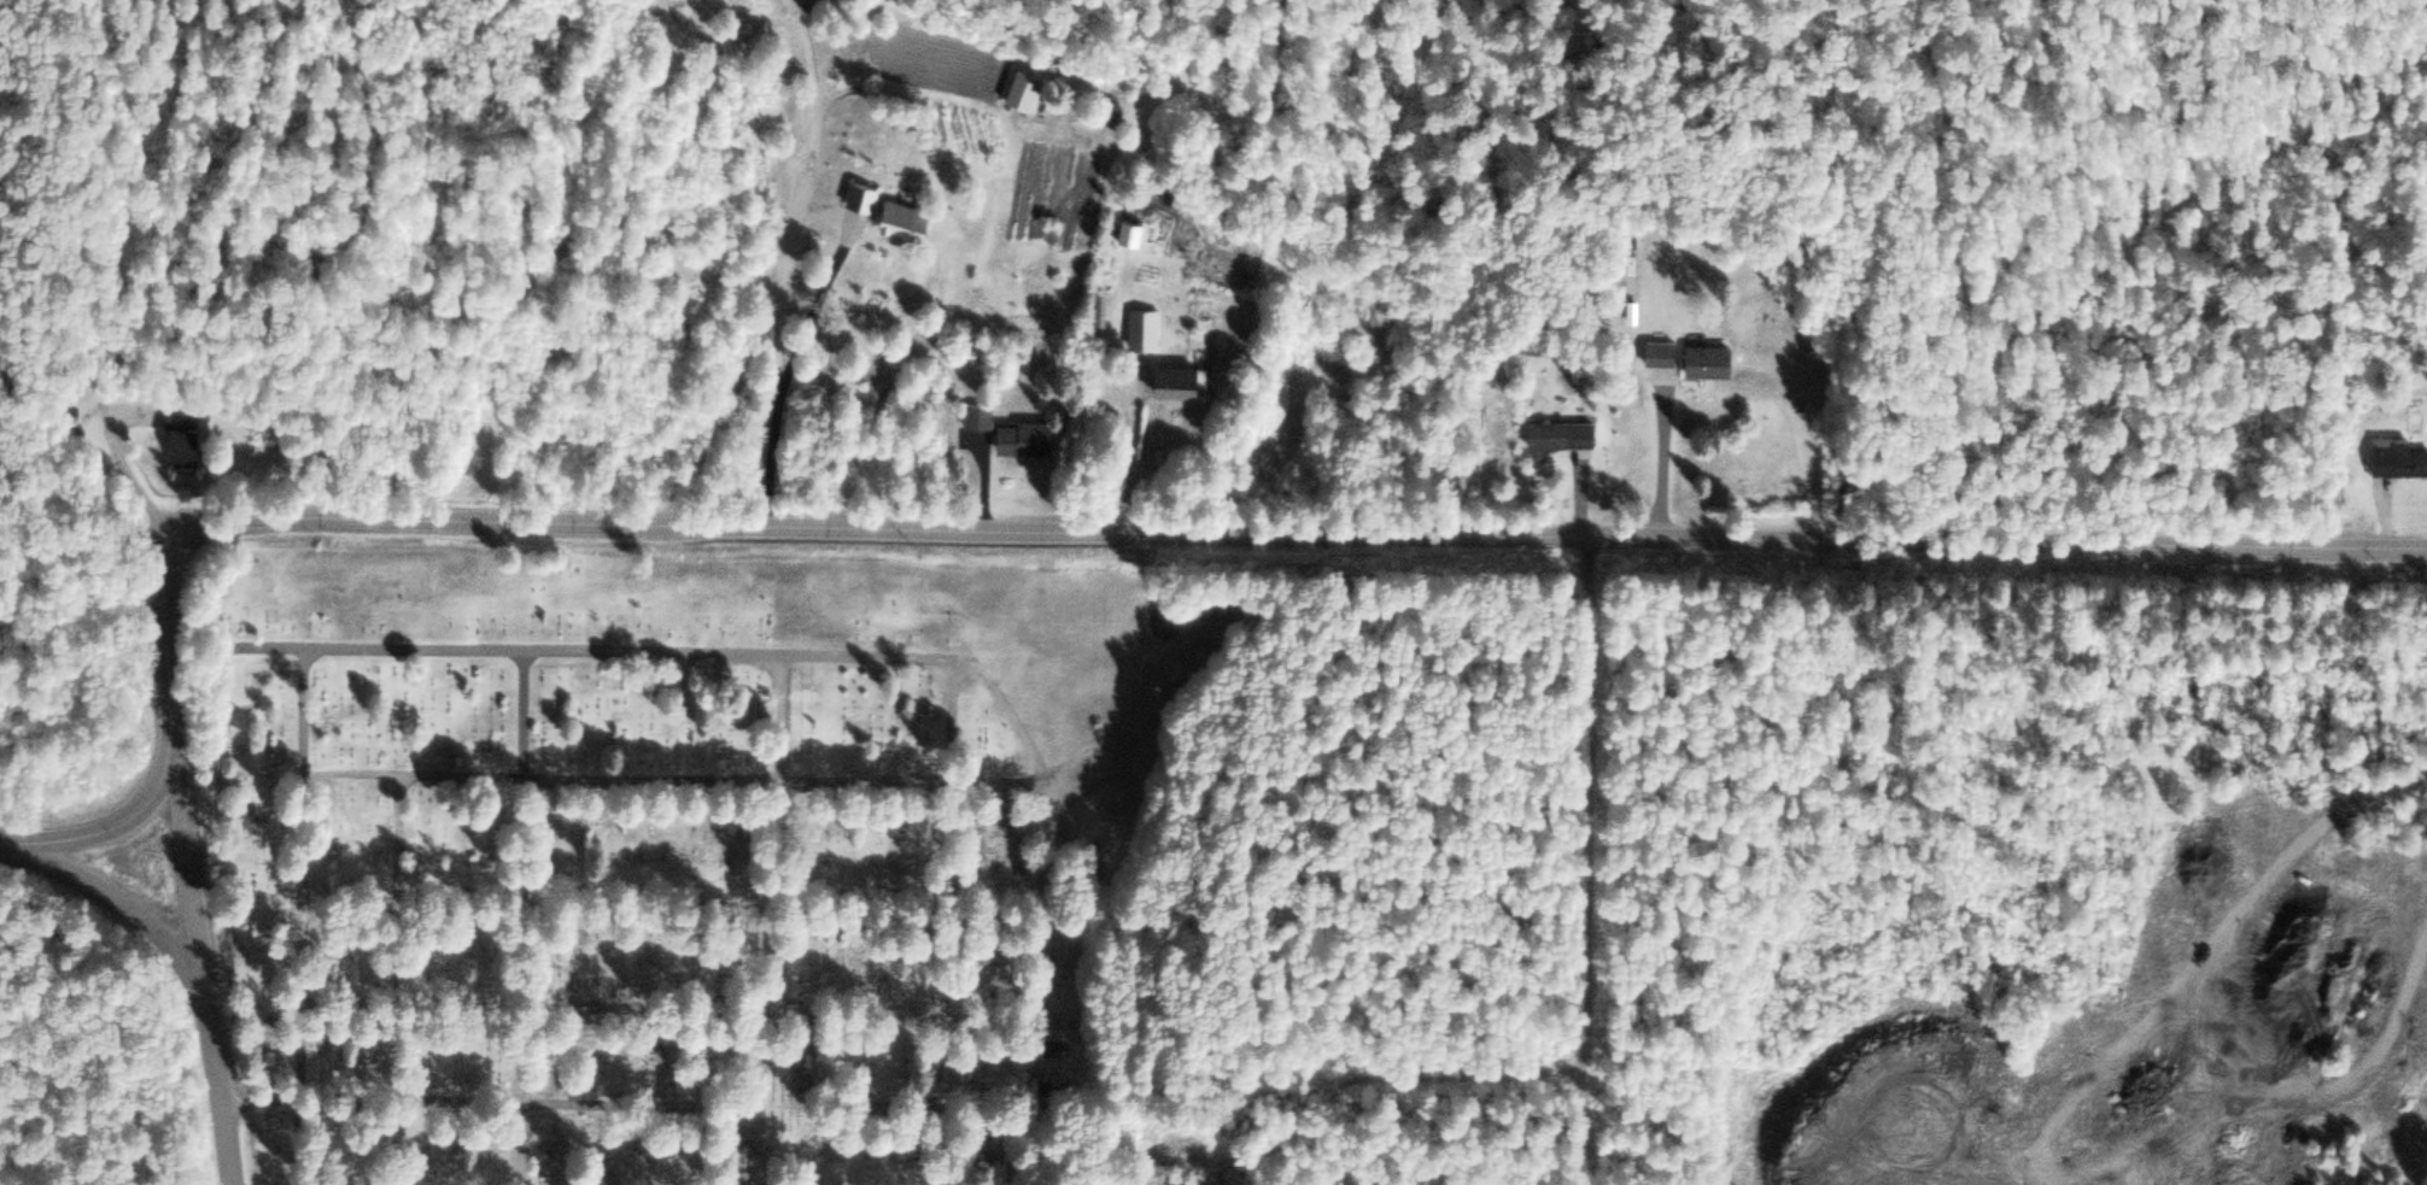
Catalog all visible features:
building: (1028, 88)
building: (897, 211)
building: (1136, 231)
road: (802, 266)
building: (1147, 328)
building: (1700, 360)
building: (1186, 381)
building: (981, 417)
building: (187, 434)
building: (1566, 434)
building: (1030, 439)
building: (2399, 459)
park: (551, 468)
road: (1082, 528)
road: (638, 653)
road: (304, 711)
road: (780, 784)
road: (112, 831)
park: (700, 861)
road: (1628, 861)
road: (678, 909)
road: (528, 917)
road: (957, 923)
road: (193, 958)
road: (404, 981)
road: (674, 1008)
building: (1049, 1052)
road: (808, 1085)
road: (713, 1110)
road: (1069, 1143)
road: (748, 1144)

